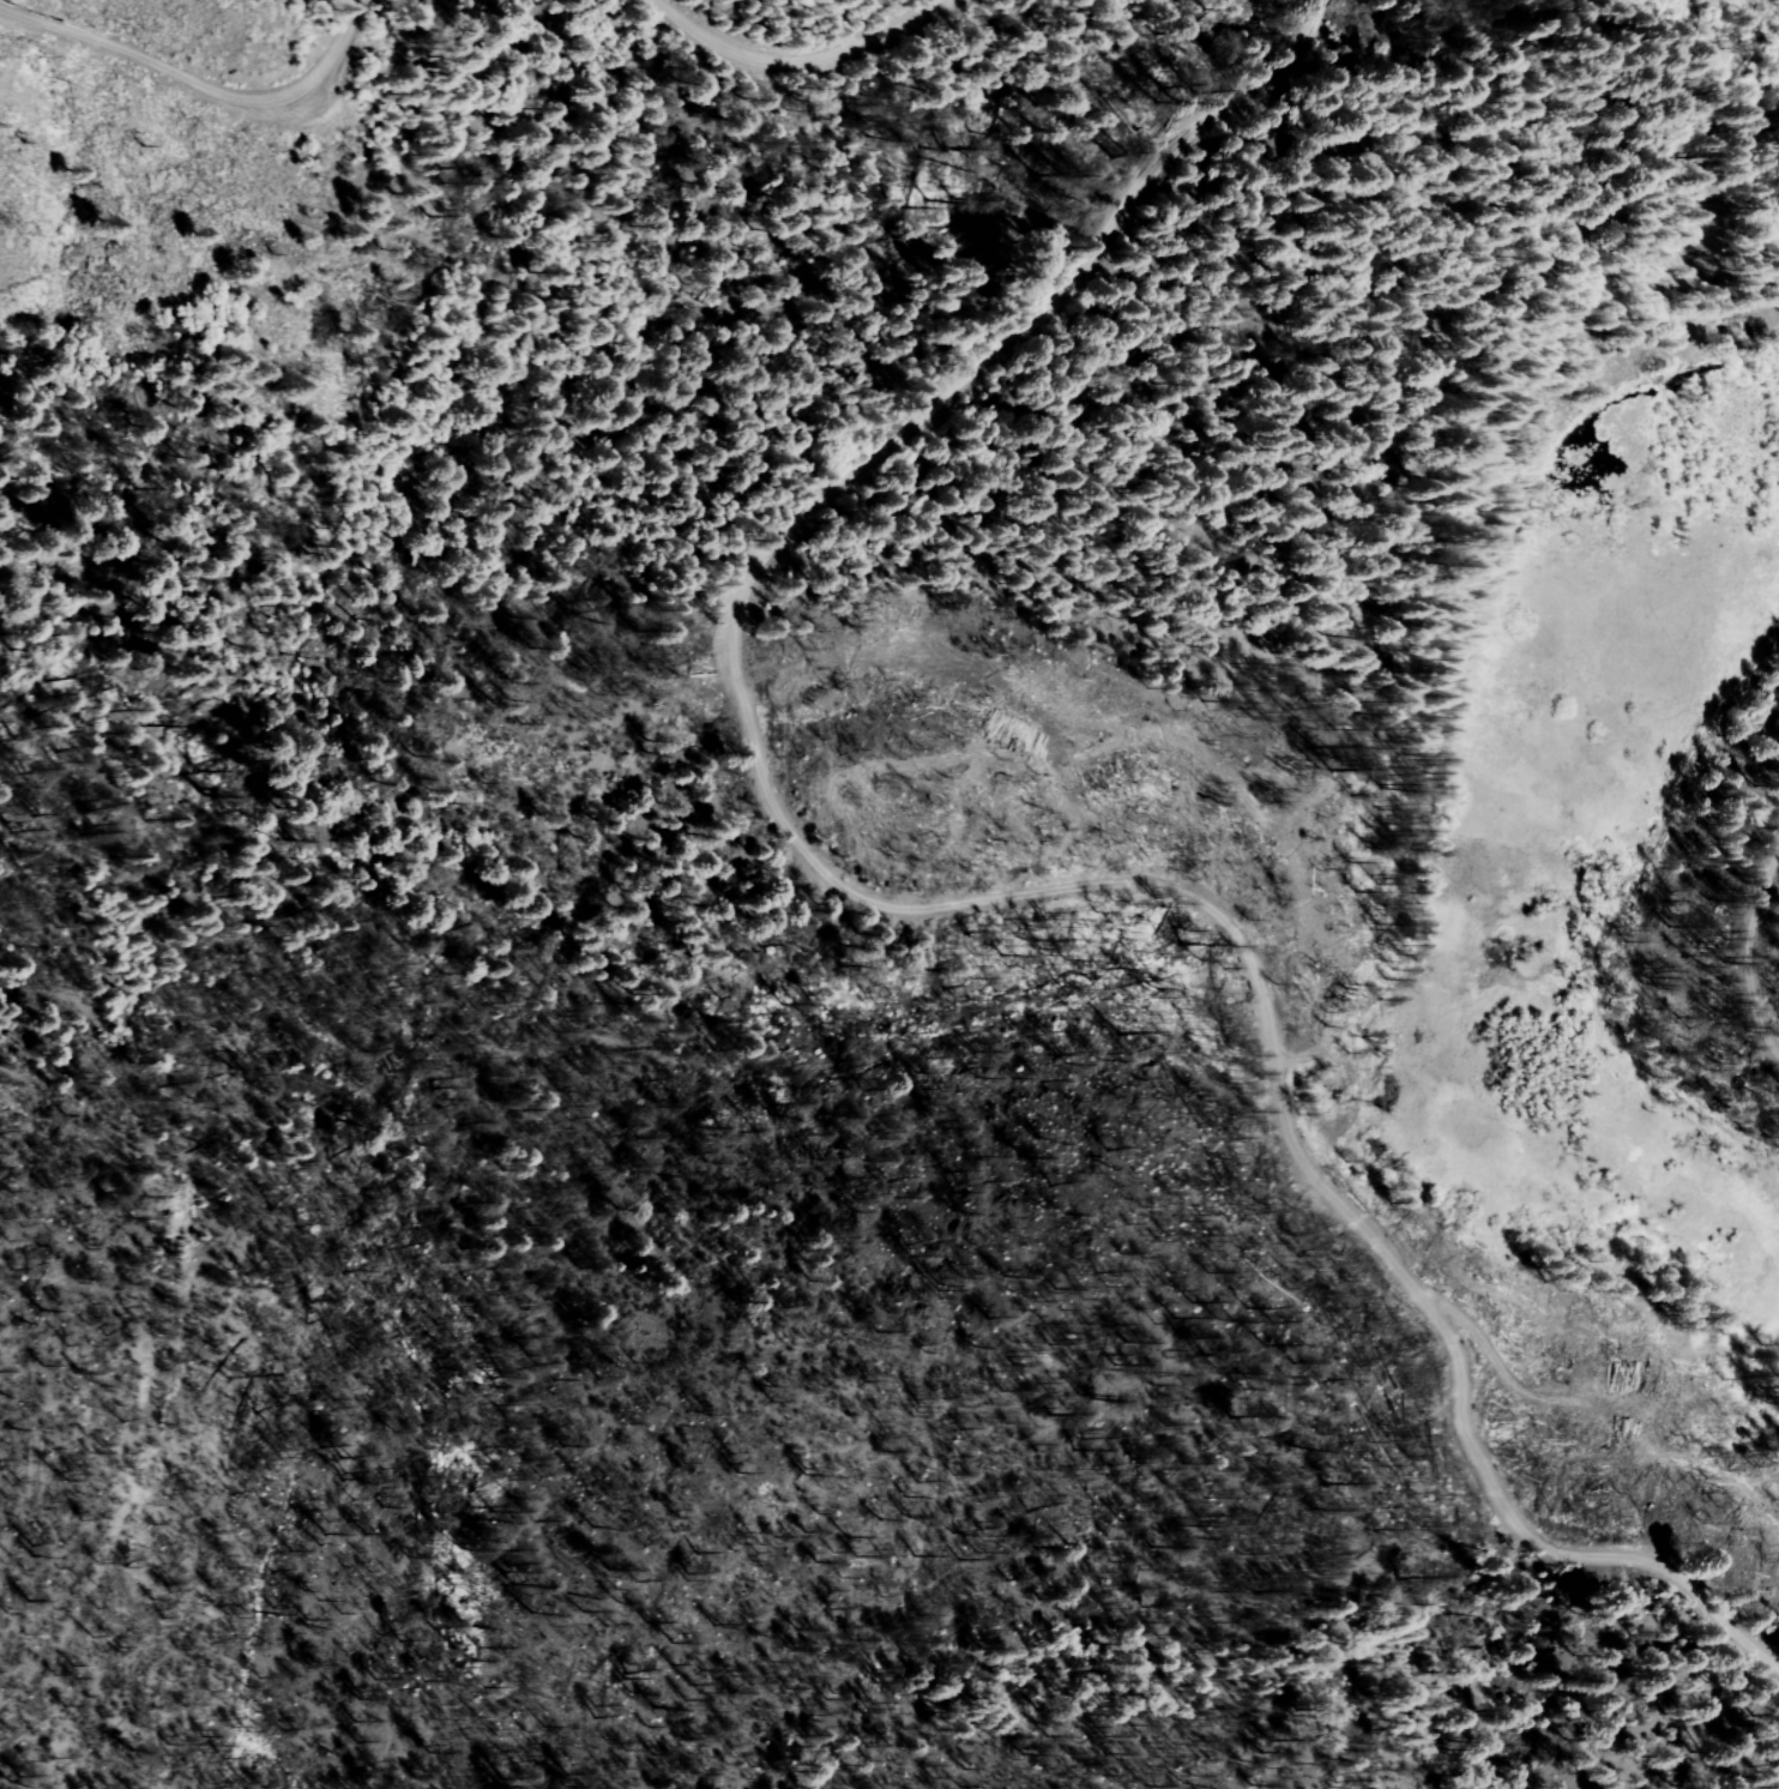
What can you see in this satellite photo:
road: (797, 59)
road: (207, 88)
road: (965, 890)
road: (1757, 964)

